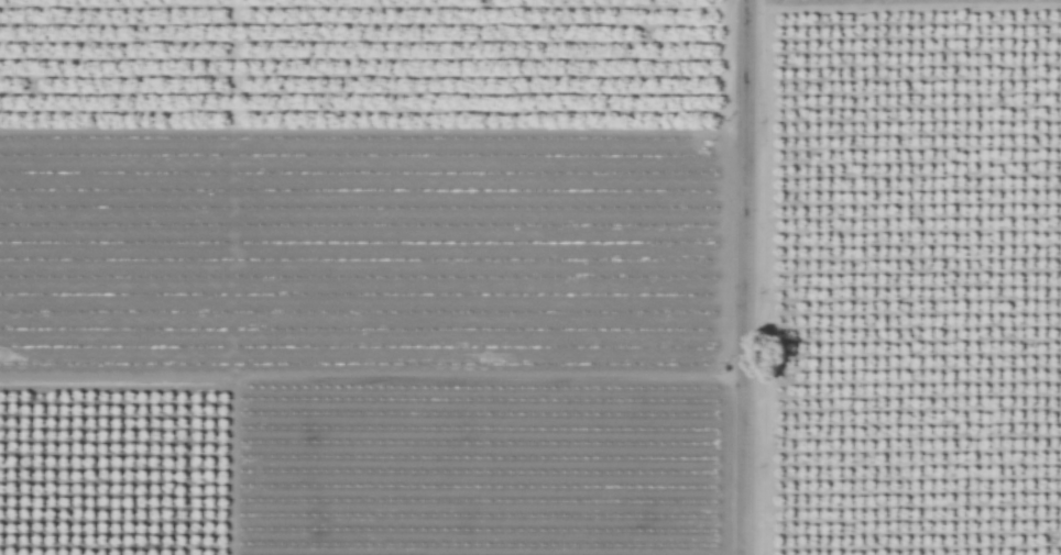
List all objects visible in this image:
road: (740, 277)

